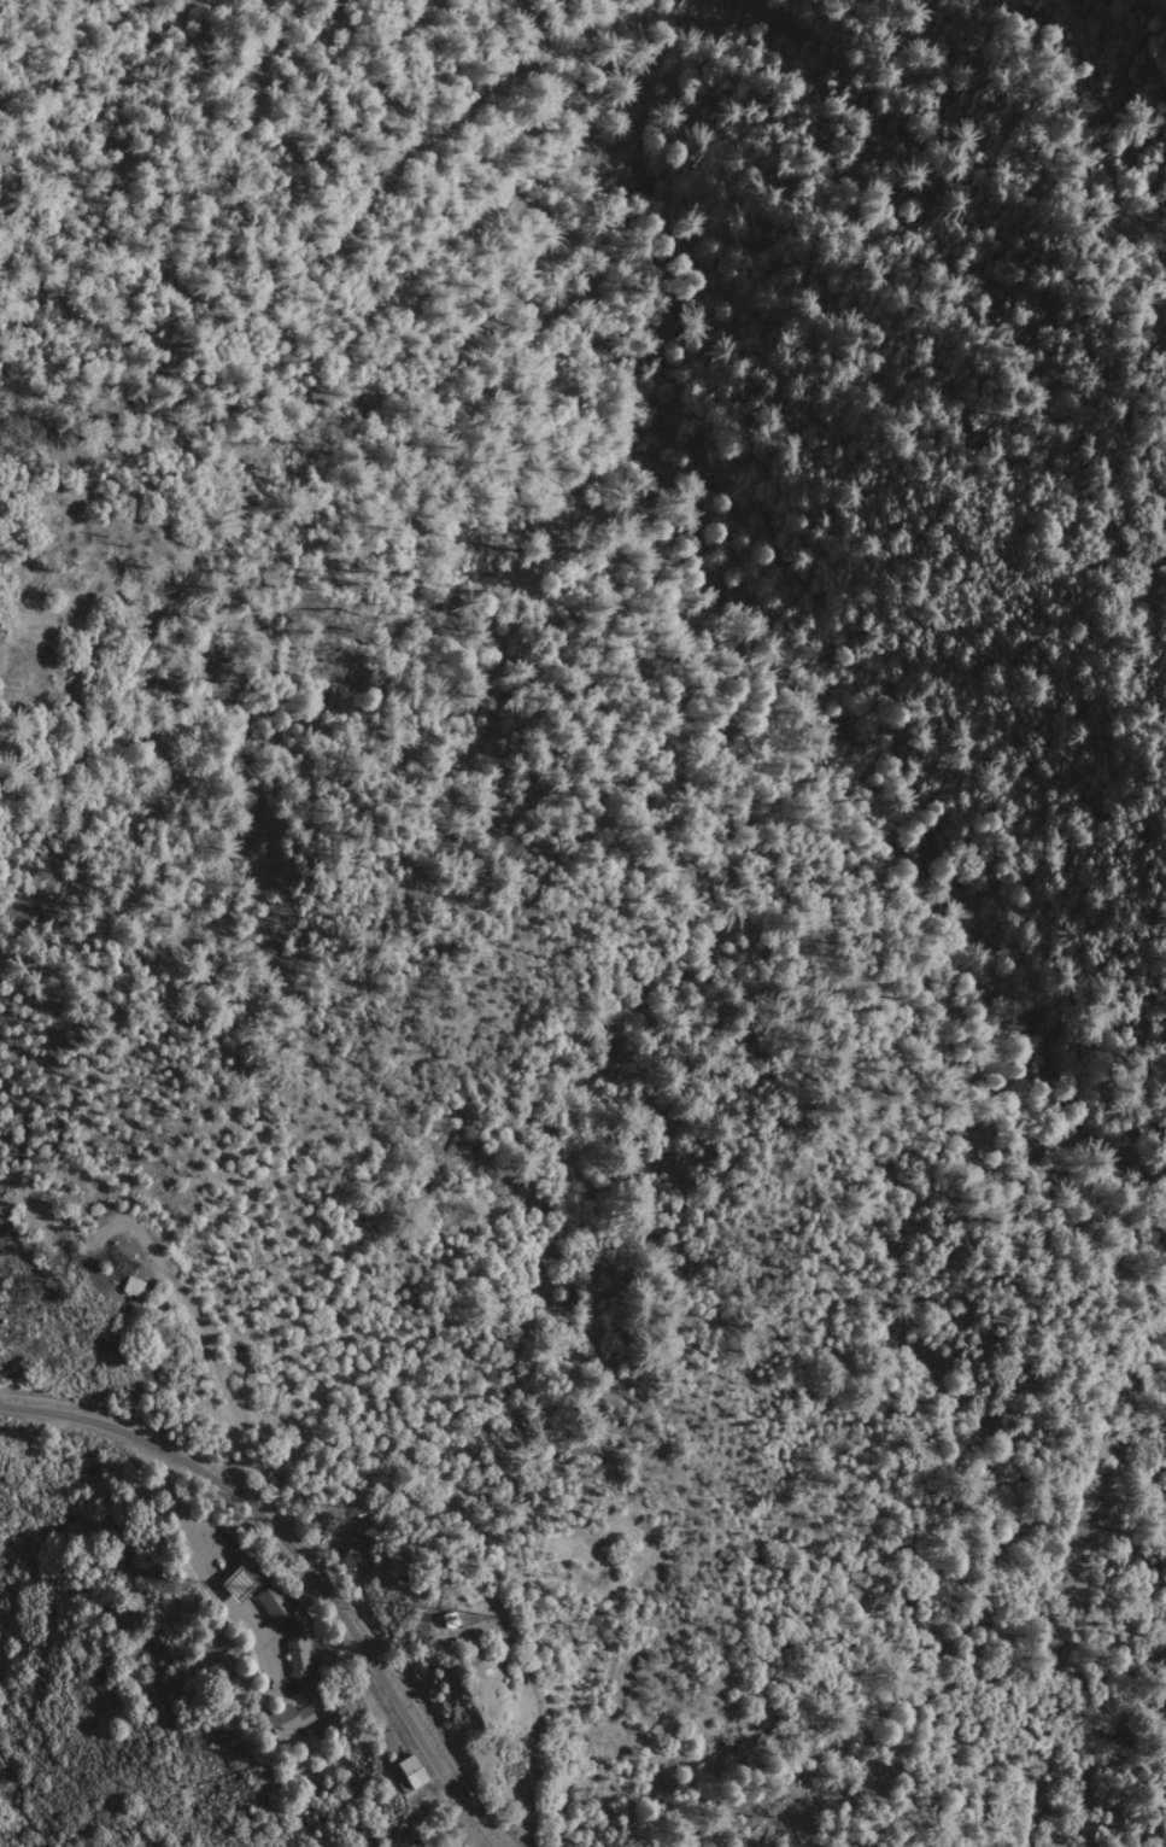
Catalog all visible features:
road: (678, 826)
building: (131, 1286)
road: (187, 1310)
building: (275, 1478)
building: (326, 1521)
building: (352, 1553)
road: (301, 1554)
building: (361, 1556)
building: (244, 1577)
building: (276, 1602)
building: (450, 1618)
building: (298, 1653)
building: (288, 1719)
building: (410, 1772)
road: (648, 1842)
road: (827, 1846)

